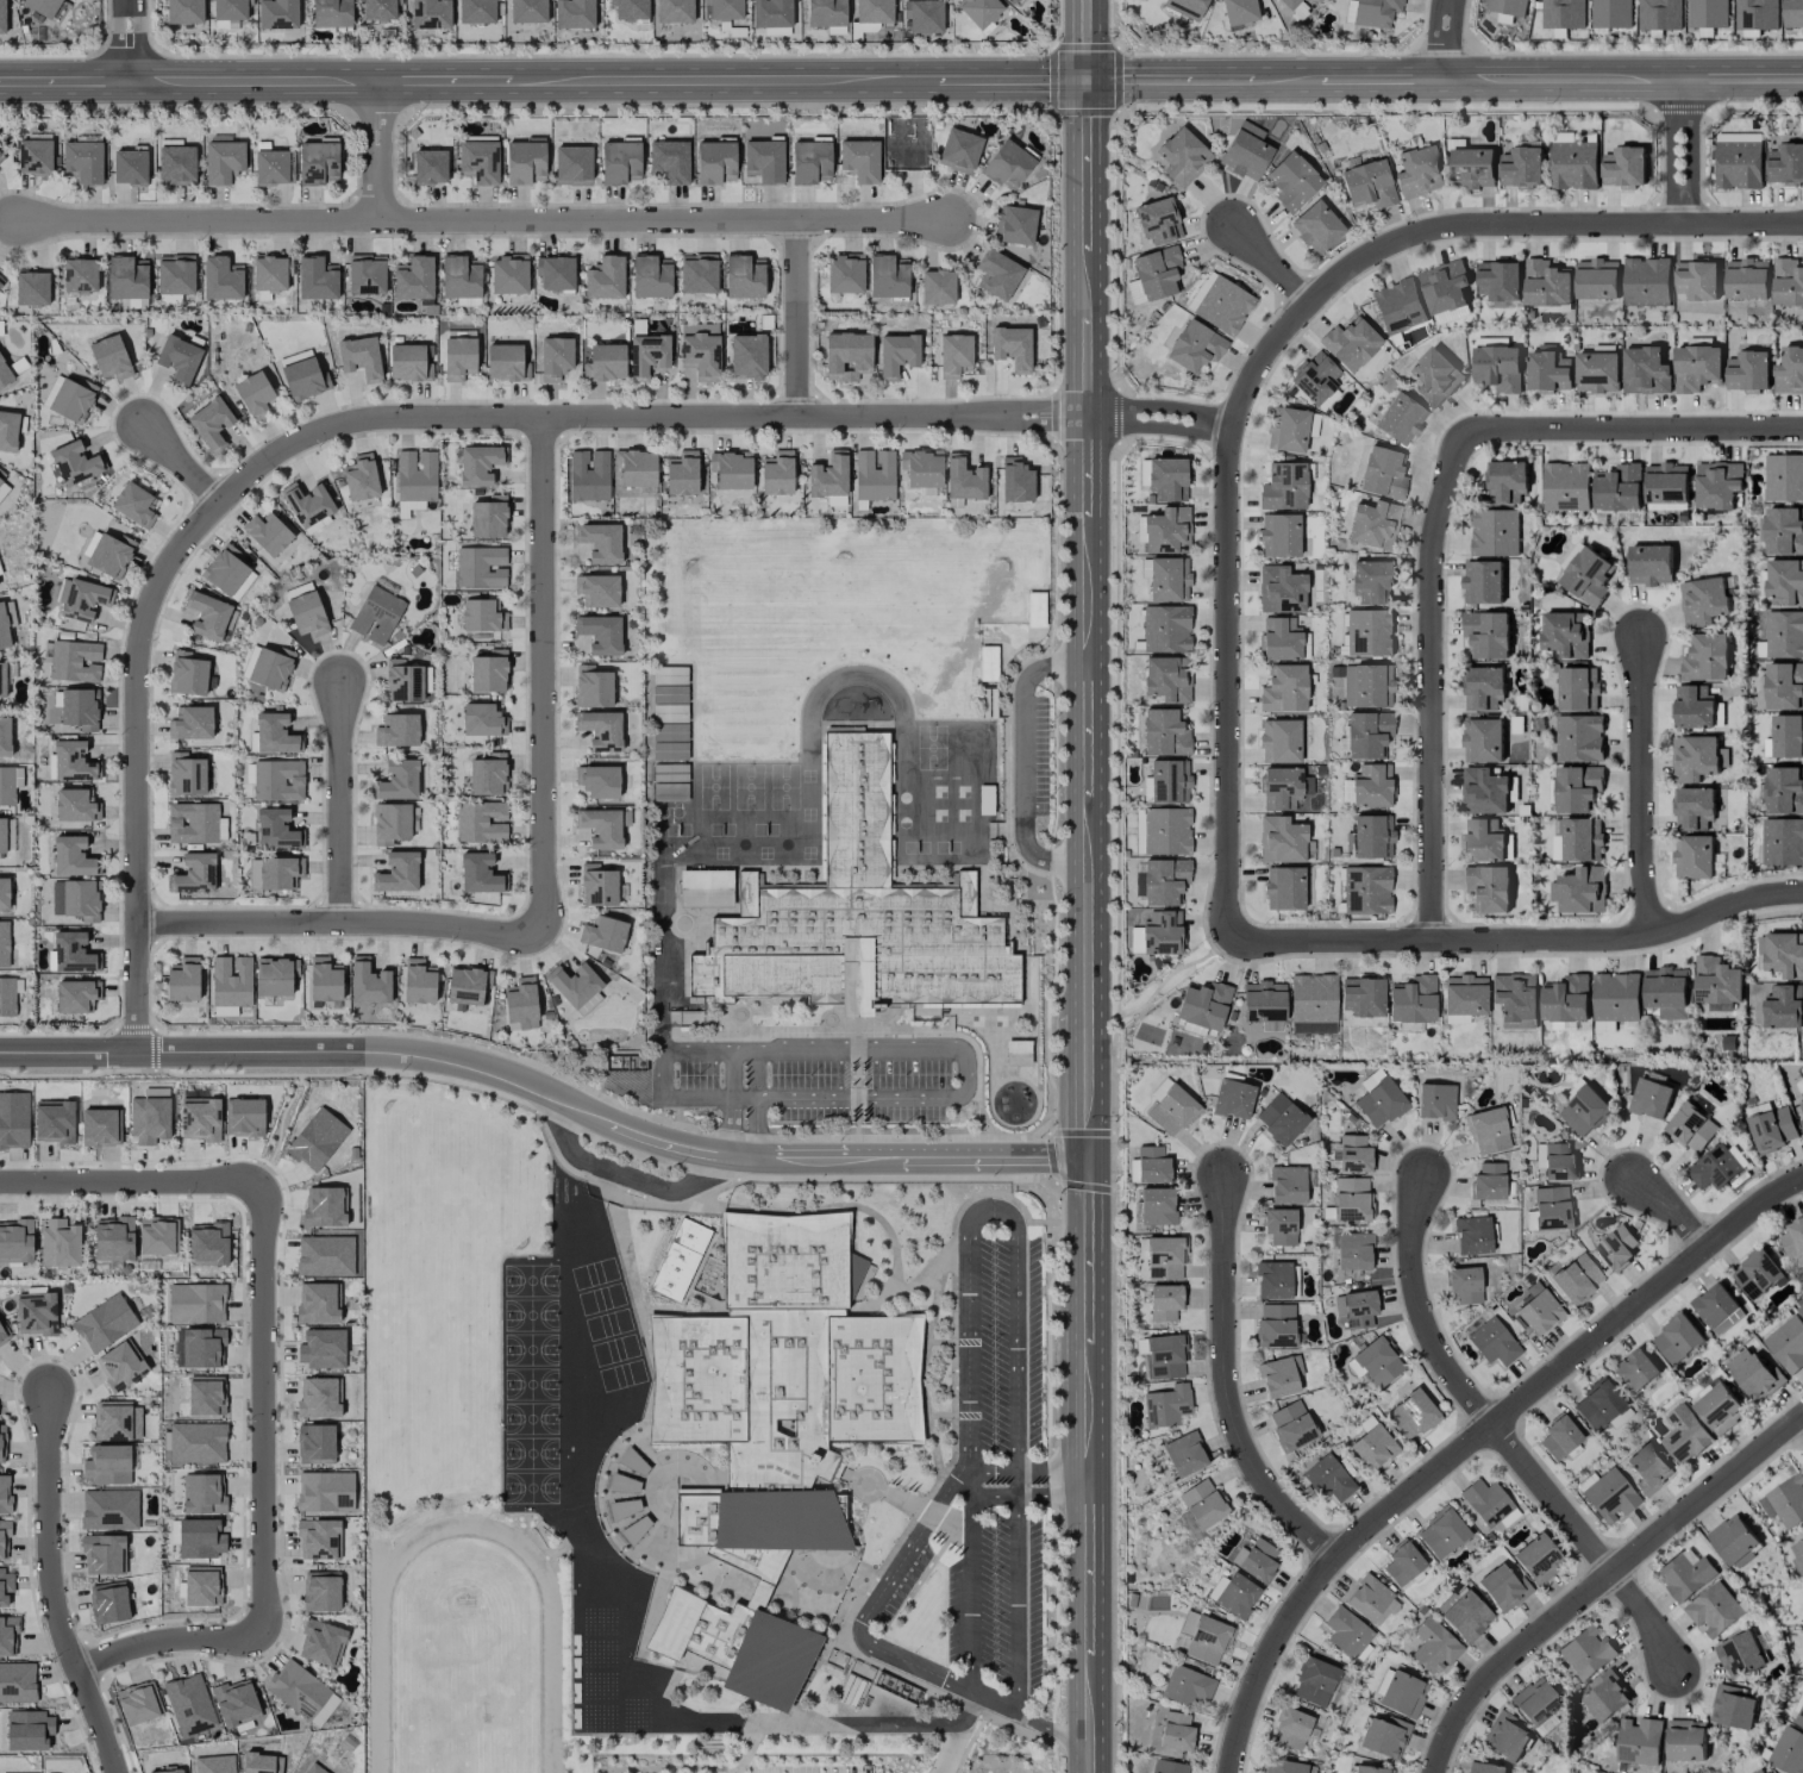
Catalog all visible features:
building: (1015, 0)
building: (1289, 2)
building: (42, 6)
building: (1508, 6)
building: (1185, 7)
building: (724, 8)
building: (378, 10)
building: (630, 10)
building: (184, 11)
building: (476, 11)
building: (528, 11)
building: (674, 11)
building: (874, 11)
building: (979, 11)
building: (228, 12)
building: (1239, 12)
building: (1375, 12)
building: (277, 13)
building: (331, 13)
building: (431, 13)
building: (574, 13)
building: (771, 13)
building: (826, 13)
building: (1564, 13)
building: (1611, 13)
building: (1708, 13)
building: (1792, 13)
building: (1660, 14)
building: (1757, 14)
building: (2, 15)
road: (1447, 38)
road: (1085, 40)
road: (130, 42)
road: (1444, 77)
road: (543, 81)
traffic signals: (1087, 81)
building: (959, 150)
road: (375, 151)
building: (1246, 151)
road: (1671, 152)
road: (1695, 152)
building: (35, 156)
building: (1181, 156)
building: (1, 157)
building: (859, 160)
building: (83, 161)
building: (223, 161)
building: (478, 161)
building: (670, 161)
building: (318, 162)
building: (525, 162)
building: (620, 162)
building: (715, 162)
building: (809, 162)
building: (176, 164)
building: (1007, 164)
building: (1573, 164)
building: (1739, 164)
building: (1785, 164)
building: (572, 166)
building: (130, 167)
building: (274, 167)
building: (430, 167)
building: (1475, 167)
building: (1624, 167)
building: (1521, 168)
building: (1419, 171)
building: (1292, 181)
building: (1369, 183)
road: (486, 220)
building: (1158, 220)
building: (1015, 224)
road: (1471, 225)
building: (1316, 226)
road: (1087, 249)
road: (1272, 266)
building: (555, 271)
building: (697, 273)
building: (845, 273)
building: (1157, 273)
building: (175, 274)
building: (365, 274)
building: (508, 274)
building: (997, 274)
building: (80, 275)
building: (127, 276)
building: (461, 276)
building: (651, 276)
building: (744, 276)
building: (888, 276)
building: (221, 277)
building: (317, 277)
building: (414, 277)
building: (605, 279)
building: (1747, 279)
building: (1597, 280)
building: (1697, 280)
building: (1, 281)
building: (1500, 281)
building: (1647, 282)
building: (1788, 282)
building: (937, 287)
building: (1445, 287)
building: (32, 288)
building: (1223, 305)
building: (1400, 306)
road: (797, 319)
building: (1350, 343)
building: (1012, 347)
building: (1195, 347)
building: (700, 350)
building: (896, 354)
building: (647, 355)
building: (846, 355)
building: (954, 355)
building: (747, 356)
building: (109, 357)
building: (359, 357)
building: (555, 357)
building: (458, 358)
building: (177, 360)
building: (406, 362)
building: (503, 362)
building: (605, 362)
building: (1498, 368)
building: (1697, 368)
building: (1548, 370)
building: (1646, 370)
building: (1748, 370)
building: (1598, 372)
building: (1790, 372)
building: (4, 374)
building: (1434, 377)
building: (303, 379)
building: (1315, 379)
building: (255, 395)
building: (73, 399)
building: (1400, 418)
road: (1159, 419)
building: (211, 423)
road: (352, 424)
building: (8, 430)
building: (1286, 430)
road: (1623, 431)
building: (74, 462)
road: (180, 464)
building: (477, 464)
building: (636, 467)
building: (921, 468)
building: (731, 469)
building: (682, 473)
building: (776, 473)
building: (1382, 473)
building: (874, 474)
building: (588, 475)
building: (828, 476)
building: (361, 477)
building: (1784, 477)
building: (963, 479)
building: (1166, 479)
building: (414, 480)
building: (1015, 480)
building: (1507, 482)
building: (1666, 483)
building: (1717, 485)
building: (1284, 487)
building: (1566, 487)
building: (2, 488)
building: (1619, 488)
building: (134, 504)
building: (307, 504)
building: (488, 517)
building: (1373, 524)
building: (1166, 530)
building: (1783, 531)
building: (1495, 532)
building: (267, 533)
building: (1278, 535)
building: (600, 542)
building: (111, 554)
building: (1571, 555)
building: (1651, 564)
building: (480, 568)
building: (225, 569)
building: (1588, 576)
building: (1169, 579)
building: (1370, 581)
building: (1785, 581)
building: (1483, 582)
building: (296, 589)
building: (597, 589)
building: (1281, 589)
building: (80, 599)
building: (1703, 601)
building: (1035, 608)
building: (377, 612)
building: (10, 613)
building: (207, 614)
building: (307, 614)
building: (481, 616)
building: (4, 629)
building: (1165, 629)
building: (1370, 632)
building: (600, 633)
building: (1566, 633)
building: (1488, 635)
building: (1784, 635)
building: (1281, 638)
building: (1705, 658)
building: (74, 661)
building: (988, 663)
building: (270, 668)
building: (488, 672)
building: (187, 674)
road: (541, 674)
building: (2, 679)
building: (1166, 680)
building: (403, 681)
road: (1226, 682)
building: (1367, 685)
building: (593, 686)
building: (1780, 686)
building: (1284, 688)
building: (1484, 688)
building: (1578, 689)
building: (669, 693)
road: (1428, 693)
building: (1695, 707)
building: (80, 708)
building: (482, 719)
building: (190, 723)
building: (600, 729)
building: (396, 730)
building: (1164, 732)
building: (274, 733)
building: (1367, 733)
building: (5, 736)
building: (1788, 736)
building: (1579, 738)
building: (669, 741)
building: (1279, 741)
building: (1483, 741)
building: (1696, 757)
building: (71, 761)
road: (1026, 763)
building: (186, 774)
building: (487, 774)
building: (277, 779)
building: (397, 780)
building: (597, 780)
building: (1169, 781)
building: (10, 784)
building: (1371, 785)
road: (1641, 786)
building: (1577, 788)
road: (1087, 789)
building: (669, 791)
building: (1784, 791)
building: (1346, 792)
building: (1484, 792)
road: (342, 801)
building: (75, 805)
building: (1694, 809)
building: (481, 822)
building: (195, 823)
building: (390, 823)
building: (602, 826)
building: (275, 829)
building: (1166, 830)
building: (2, 835)
building: (1370, 837)
building: (1281, 839)
building: (1484, 839)
building: (1583, 839)
building: (1558, 842)
building: (1783, 842)
building: (71, 856)
building: (1695, 857)
building: (274, 872)
building: (396, 873)
building: (478, 873)
building: (194, 874)
building: (1163, 881)
building: (597, 885)
building: (705, 887)
building: (1284, 887)
building: (1488, 888)
building: (1366, 889)
building: (1580, 891)
building: (4, 893)
building: (75, 899)
building: (856, 914)
road: (337, 920)
building: (603, 932)
building: (1162, 932)
road: (1519, 938)
building: (4, 943)
building: (70, 954)
building: (1783, 954)
building: (275, 975)
building: (182, 979)
building: (325, 979)
building: (231, 981)
building: (418, 981)
building: (368, 982)
building: (1717, 984)
building: (467, 985)
building: (576, 986)
building: (1666, 992)
building: (75, 994)
building: (1464, 994)
building: (7, 995)
building: (1363, 995)
building: (1515, 995)
building: (1616, 997)
building: (1313, 998)
building: (1413, 999)
building: (1566, 999)
building: (521, 1003)
building: (1264, 1004)
building: (1784, 1006)
building: (1202, 1007)
building: (1455, 1018)
building: (1604, 1026)
building: (1313, 1028)
road: (875, 1049)
building: (1018, 1053)
building: (1371, 1079)
road: (546, 1090)
road: (743, 1097)
building: (1233, 1098)
building: (1651, 1099)
building: (1435, 1101)
building: (1381, 1103)
building: (1802, 1105)
building: (1170, 1107)
building: (1585, 1112)
building: (244, 1117)
building: (200, 1118)
building: (1281, 1118)
building: (149, 1119)
building: (13, 1120)
building: (54, 1120)
building: (1692, 1124)
building: (1801, 1124)
building: (99, 1128)
building: (1773, 1130)
building: (1488, 1131)
building: (317, 1138)
building: (1353, 1154)
traffic signals: (1087, 1161)
building: (1559, 1162)
building: (1152, 1165)
building: (1716, 1167)
road: (620, 1172)
building: (1488, 1181)
road: (125, 1184)
building: (1286, 1185)
building: (1351, 1199)
building: (323, 1206)
road: (1006, 1206)
building: (1157, 1206)
building: (1551, 1207)
road: (1672, 1211)
building: (1279, 1226)
building: (1472, 1235)
building: (113, 1238)
building: (1793, 1238)
building: (15, 1241)
building: (60, 1243)
building: (207, 1243)
building: (1617, 1247)
building: (1353, 1250)
building: (325, 1255)
building: (1164, 1257)
building: (678, 1259)
building: (1757, 1274)
building: (1577, 1279)
building: (1276, 1280)
building: (1464, 1284)
building: (1164, 1301)
building: (195, 1303)
building: (317, 1303)
building: (1799, 1305)
building: (1356, 1307)
building: (1717, 1309)
road: (1420, 1310)
building: (1539, 1310)
building: (36, 1313)
building: (104, 1323)
building: (1276, 1324)
building: (2, 1337)
building: (1677, 1338)
building: (1494, 1342)
building: (1788, 1344)
building: (199, 1347)
building: (323, 1348)
building: (1164, 1356)
building: (1378, 1361)
building: (119, 1366)
building: (1636, 1371)
building: (1279, 1375)
building: (1754, 1375)
road: (1225, 1382)
building: (205, 1396)
building: (318, 1398)
building: (1598, 1404)
building: (1166, 1405)
road: (263, 1406)
building: (1720, 1409)
building: (1411, 1415)
building: (115, 1421)
building: (1291, 1425)
building: (774, 1430)
building: (1684, 1435)
building: (1559, 1436)
building: (196, 1442)
road: (1472, 1442)
building: (2, 1443)
building: (315, 1443)
building: (1373, 1447)
road: (1087, 1450)
building: (1184, 1454)
building: (107, 1465)
building: (1648, 1468)
building: (1328, 1478)
road: (1052, 1482)
road: (984, 1484)
building: (325, 1491)
road: (946, 1493)
building: (5, 1494)
building: (202, 1494)
building: (1609, 1496)
building: (1486, 1502)
building: (1785, 1502)
building: (1202, 1503)
building: (109, 1509)
building: (1441, 1532)
building: (200, 1538)
building: (317, 1538)
building: (1733, 1538)
building: (4, 1540)
road: (1589, 1543)
building: (102, 1554)
building: (1798, 1555)
building: (1256, 1559)
building: (1538, 1559)
building: (1402, 1562)
building: (1685, 1574)
road: (1601, 1581)
building: (5, 1586)
building: (201, 1586)
road: (971, 1587)
building: (1503, 1587)
road: (44, 1590)
building: (321, 1591)
building: (1233, 1594)
road: (1018, 1598)
building: (1369, 1598)
building: (108, 1603)
building: (1714, 1610)
building: (1466, 1616)
building: (1189, 1623)
building: (1346, 1631)
building: (7, 1634)
road: (860, 1634)
road: (161, 1638)
building: (1208, 1640)
building: (320, 1642)
building: (1434, 1646)
building: (1586, 1653)
building: (1740, 1655)
building: (17, 1681)
building: (1314, 1681)
building: (1188, 1686)
building: (296, 1688)
building: (1403, 1694)
building: (1607, 1697)
road: (994, 1700)
building: (236, 1702)
building: (1536, 1702)
building: (137, 1703)
building: (189, 1705)
building: (1733, 1708)
road: (902, 1718)
building: (1799, 1718)
road: (1053, 1727)
building: (1290, 1728)
building: (29, 1730)
road: (956, 1733)
building: (1384, 1736)
building: (1505, 1737)
building: (1686, 1740)
building: (1640, 1742)
building: (1788, 1752)
road: (1088, 1758)
building: (261, 1762)
building: (214, 1763)
building: (1284, 1766)
building: (1170, 1767)
building: (314, 1768)
building: (1484, 1768)
building: (1371, 1769)
building: (167, 1771)
building: (1761, 1771)

